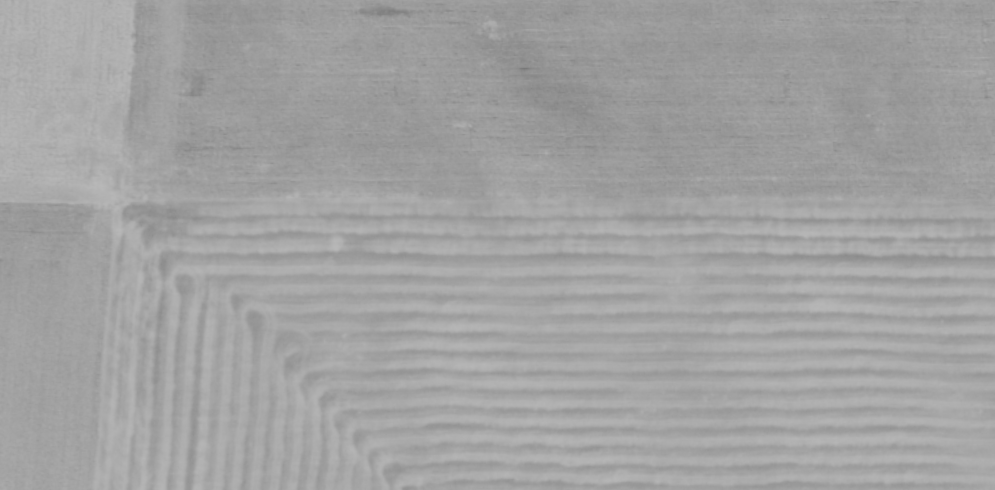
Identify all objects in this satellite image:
crop: (497, 245)

